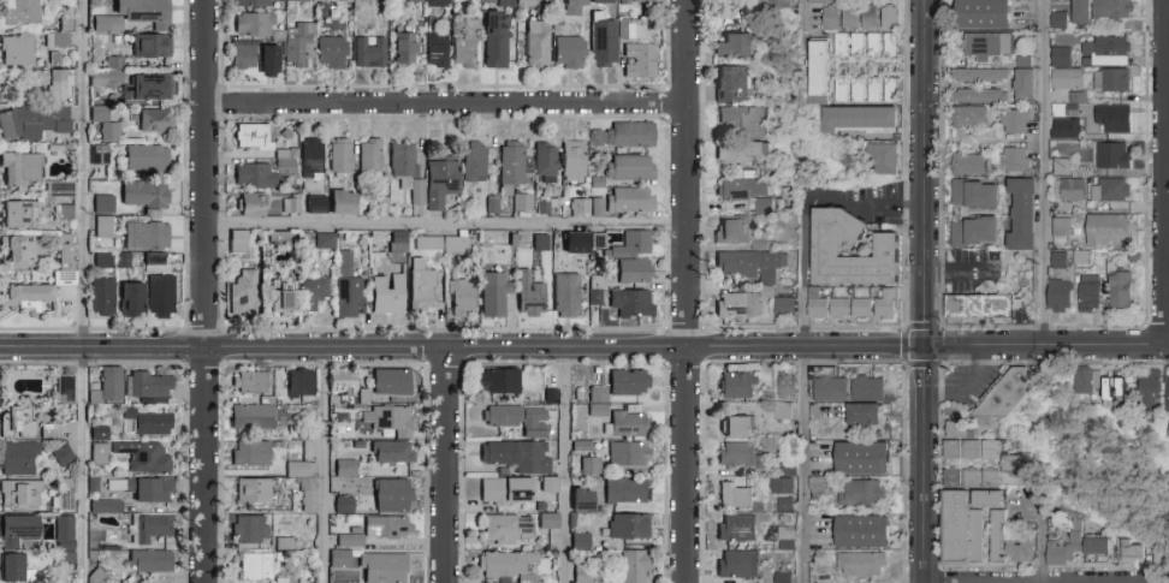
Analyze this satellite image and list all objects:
building: (413, 0)
building: (487, 1)
building: (637, 1)
building: (260, 2)
building: (434, 2)
building: (504, 2)
building: (598, 2)
building: (526, 5)
building: (783, 5)
building: (576, 7)
building: (1112, 10)
building: (23, 12)
building: (1082, 12)
building: (829, 13)
building: (135, 14)
road: (803, 14)
building: (984, 14)
building: (890, 17)
building: (860, 18)
building: (1060, 22)
building: (254, 24)
building: (435, 25)
building: (59, 38)
building: (497, 40)
building: (538, 44)
building: (600, 44)
building: (152, 46)
building: (735, 46)
building: (841, 46)
building: (858, 46)
building: (882, 46)
building: (299, 47)
building: (465, 47)
building: (986, 47)
building: (405, 48)
building: (18, 50)
building: (438, 50)
building: (1106, 52)
building: (332, 53)
building: (370, 53)
building: (569, 53)
building: (243, 55)
building: (53, 58)
building: (1060, 58)
building: (269, 60)
building: (639, 61)
building: (819, 71)
building: (107, 75)
building: (979, 76)
building: (1068, 79)
building: (1110, 82)
building: (53, 83)
building: (732, 84)
building: (1025, 85)
building: (152, 87)
building: (849, 90)
building: (883, 90)
building: (977, 96)
road: (443, 101)
building: (968, 117)
building: (1112, 118)
building: (155, 120)
building: (860, 120)
building: (744, 121)
building: (1014, 121)
building: (32, 123)
building: (106, 124)
building: (1067, 129)
building: (254, 136)
building: (622, 136)
road: (924, 136)
building: (738, 153)
building: (100, 155)
building: (370, 156)
building: (1114, 156)
building: (147, 157)
building: (340, 157)
building: (883, 157)
building: (311, 159)
building: (574, 160)
building: (1014, 160)
building: (475, 161)
building: (546, 162)
building: (512, 165)
building: (968, 165)
building: (630, 168)
building: (1066, 168)
building: (407, 169)
building: (22, 171)
building: (262, 171)
road: (1042, 172)
road: (1164, 173)
building: (441, 182)
building: (61, 190)
building: (1069, 190)
building: (1110, 190)
building: (746, 192)
building: (146, 195)
building: (974, 195)
building: (630, 201)
building: (344, 202)
building: (523, 202)
building: (316, 203)
road: (862, 203)
building: (103, 204)
building: (267, 204)
building: (547, 206)
building: (580, 207)
building: (65, 213)
building: (18, 214)
building: (1022, 214)
road: (443, 225)
building: (105, 227)
building: (1062, 227)
building: (731, 231)
building: (1106, 231)
building: (974, 232)
building: (147, 236)
building: (399, 238)
building: (241, 240)
building: (325, 242)
building: (428, 243)
building: (541, 243)
building: (453, 244)
building: (278, 245)
building: (634, 245)
building: (760, 245)
building: (826, 249)
building: (18, 252)
building: (66, 260)
building: (1058, 261)
building: (750, 264)
building: (635, 270)
road: (956, 273)
building: (349, 287)
building: (421, 287)
building: (1121, 290)
road: (81, 291)
road: (203, 291)
road: (684, 291)
building: (244, 292)
building: (314, 292)
building: (594, 293)
building: (388, 295)
building: (494, 295)
building: (530, 295)
building: (1090, 295)
building: (162, 296)
building: (568, 296)
building: (1058, 296)
building: (103, 297)
building: (283, 297)
building: (462, 297)
building: (26, 298)
building: (132, 299)
building: (631, 303)
building: (738, 305)
building: (888, 305)
building: (787, 307)
building: (979, 307)
building: (830, 308)
building: (862, 308)
road: (924, 309)
traffic signals: (924, 346)
road: (1046, 346)
road: (462, 347)
building: (499, 381)
building: (251, 382)
building: (343, 382)
building: (392, 382)
building: (1088, 382)
building: (1116, 382)
building: (301, 383)
building: (629, 383)
building: (109, 385)
building: (152, 386)
building: (738, 386)
building: (1105, 387)
building: (1151, 387)
building: (65, 388)
building: (788, 388)
building: (831, 388)
building: (870, 388)
building: (1167, 391)
road: (802, 392)
building: (598, 393)
building: (597, 407)
building: (784, 411)
building: (954, 412)
building: (866, 415)
building: (253, 417)
building: (387, 418)
building: (517, 418)
building: (22, 422)
building: (148, 423)
building: (629, 424)
building: (736, 426)
building: (100, 432)
building: (967, 445)
building: (392, 452)
building: (251, 453)
building: (100, 454)
building: (630, 454)
building: (737, 454)
building: (64, 456)
building: (517, 456)
building: (144, 457)
building: (19, 458)
building: (862, 459)
road: (564, 464)
road: (922, 464)
road: (326, 465)
road: (443, 465)
building: (591, 465)
building: (1011, 465)
building: (345, 469)
building: (303, 474)
building: (972, 480)
building: (818, 483)
building: (551, 484)
building: (781, 487)
building: (144, 488)
building: (255, 490)
building: (506, 490)
building: (64, 492)
building: (627, 492)
building: (18, 493)
building: (861, 494)
building: (393, 495)
building: (736, 495)
building: (105, 504)
building: (344, 505)
building: (784, 505)
building: (550, 522)
building: (965, 525)
building: (629, 527)
building: (153, 528)
building: (387, 528)
building: (736, 528)
building: (250, 529)
building: (17, 530)
building: (509, 530)
building: (65, 533)
building: (864, 533)
building: (785, 537)
building: (351, 541)
building: (581, 541)
building: (1009, 542)
road: (1040, 545)
building: (1097, 548)
building: (1064, 551)
building: (1133, 552)
building: (1162, 557)
building: (340, 559)
building: (150, 561)
building: (506, 565)
building: (737, 565)
building: (861, 565)
building: (255, 566)
building: (635, 566)
building: (14, 569)
building: (384, 569)
building: (583, 576)
building: (97, 577)

